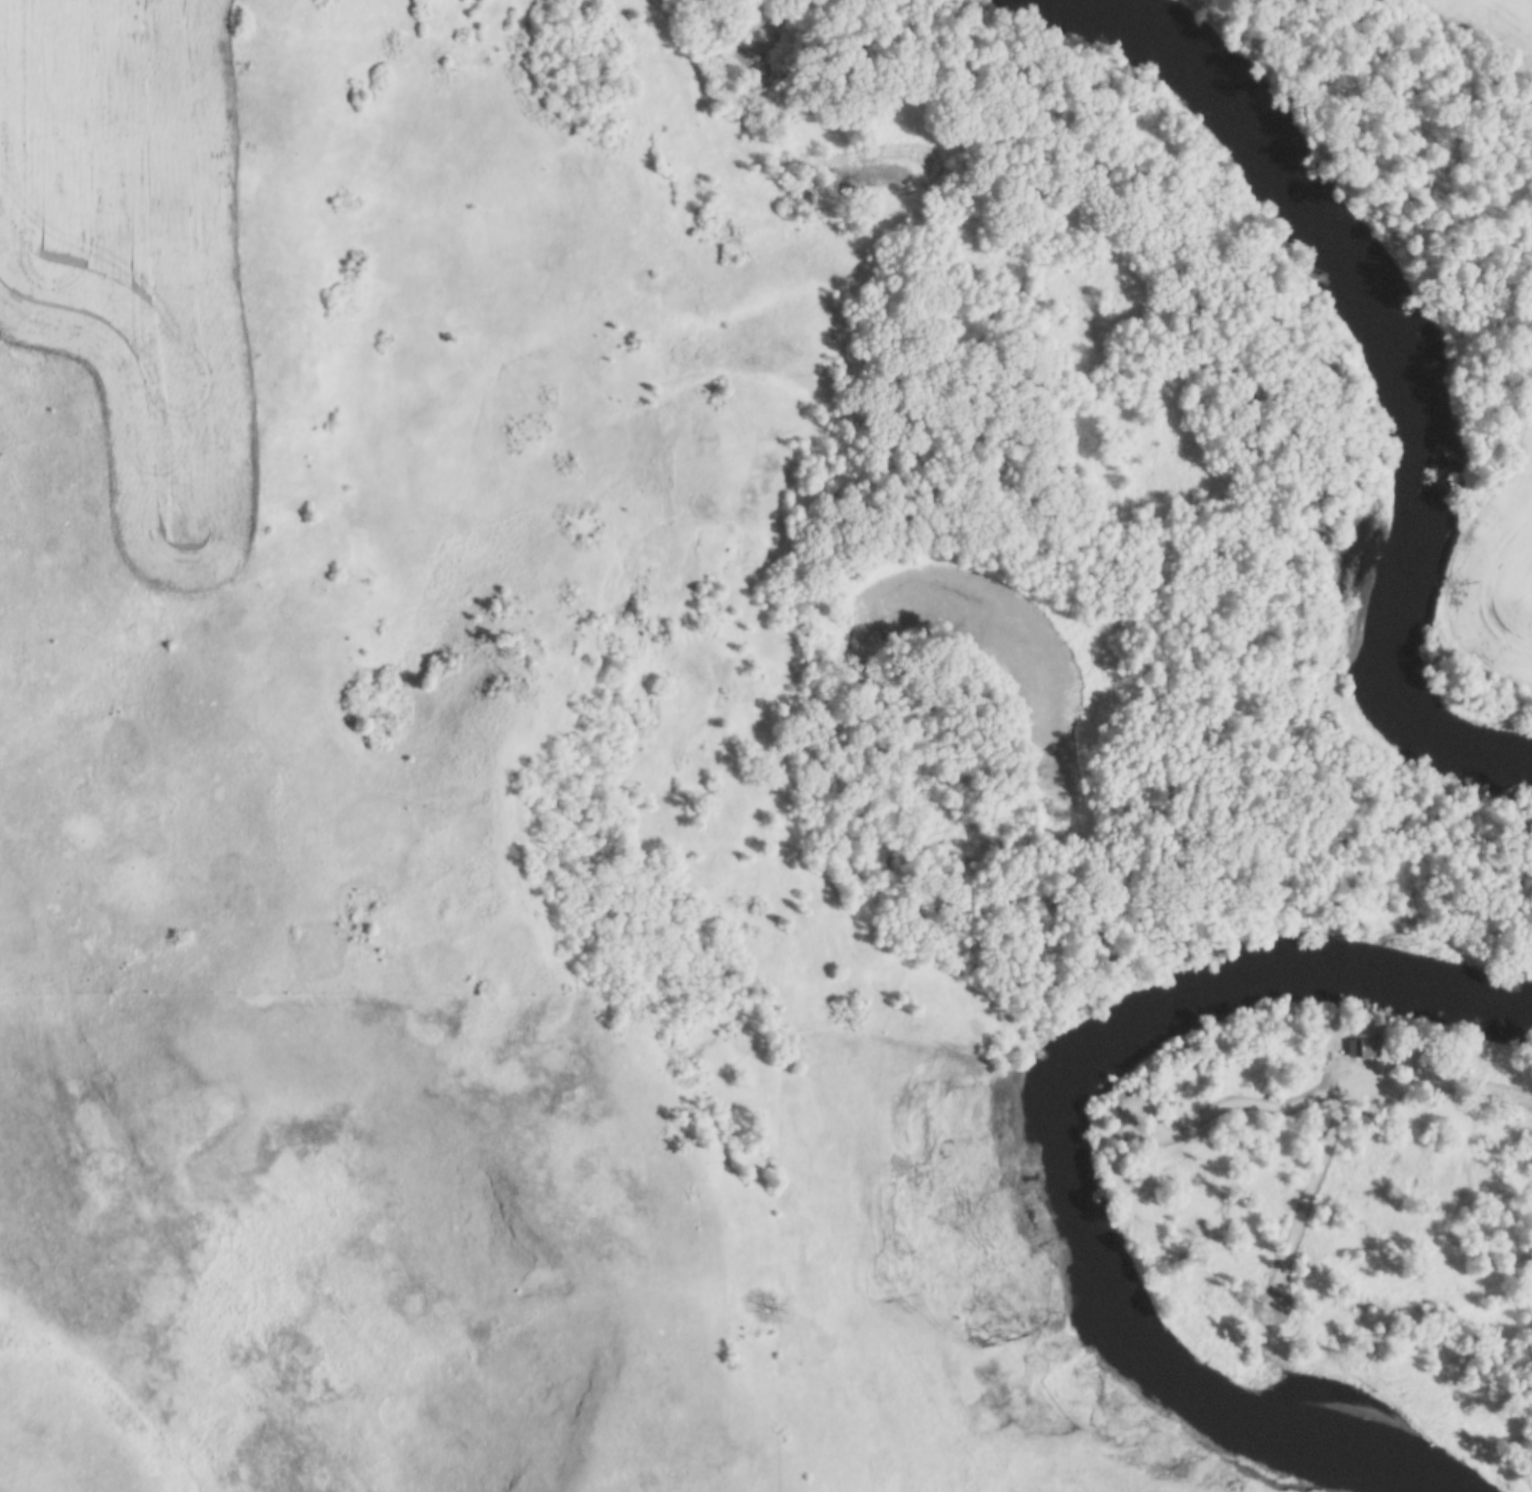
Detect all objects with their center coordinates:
river: (1412, 346)
building: (1361, 1050)
river: (1079, 1146)

